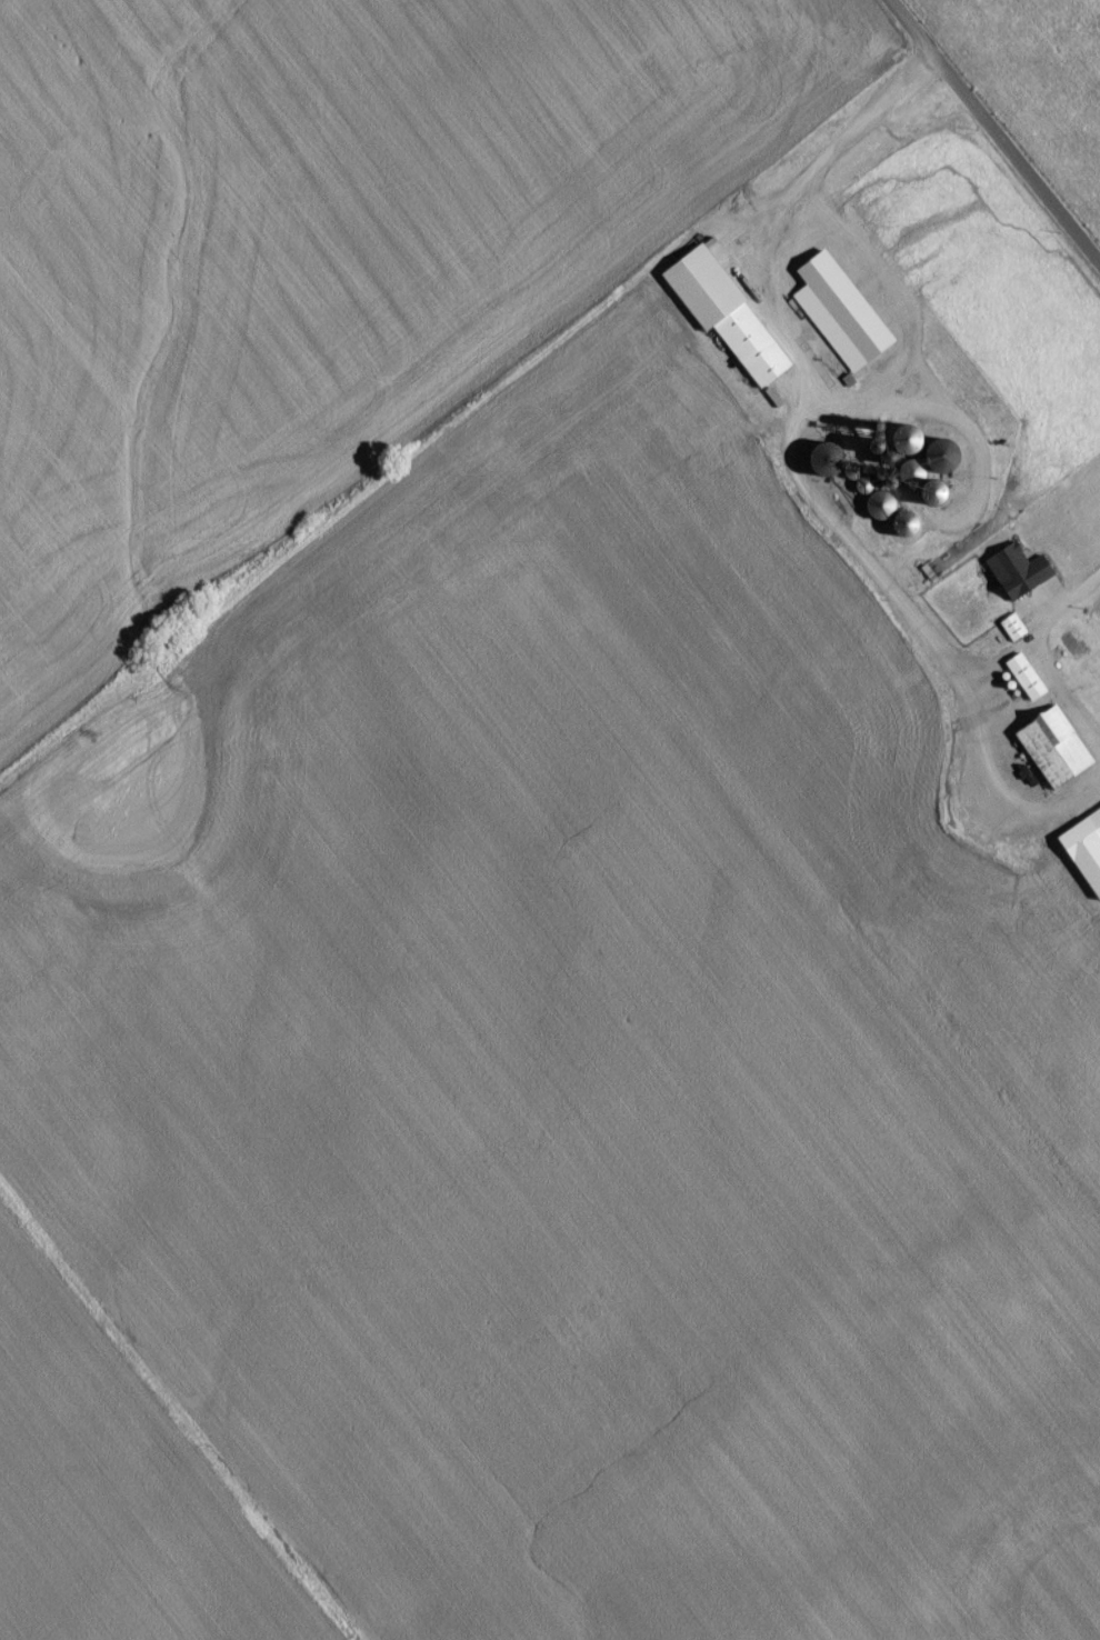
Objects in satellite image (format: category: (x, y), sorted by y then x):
road: (990, 136)
building: (848, 313)
building: (728, 321)
road: (799, 476)
building: (1011, 594)
building: (1013, 638)
road: (1038, 651)
building: (1027, 678)
building: (1062, 750)
building: (1081, 844)

